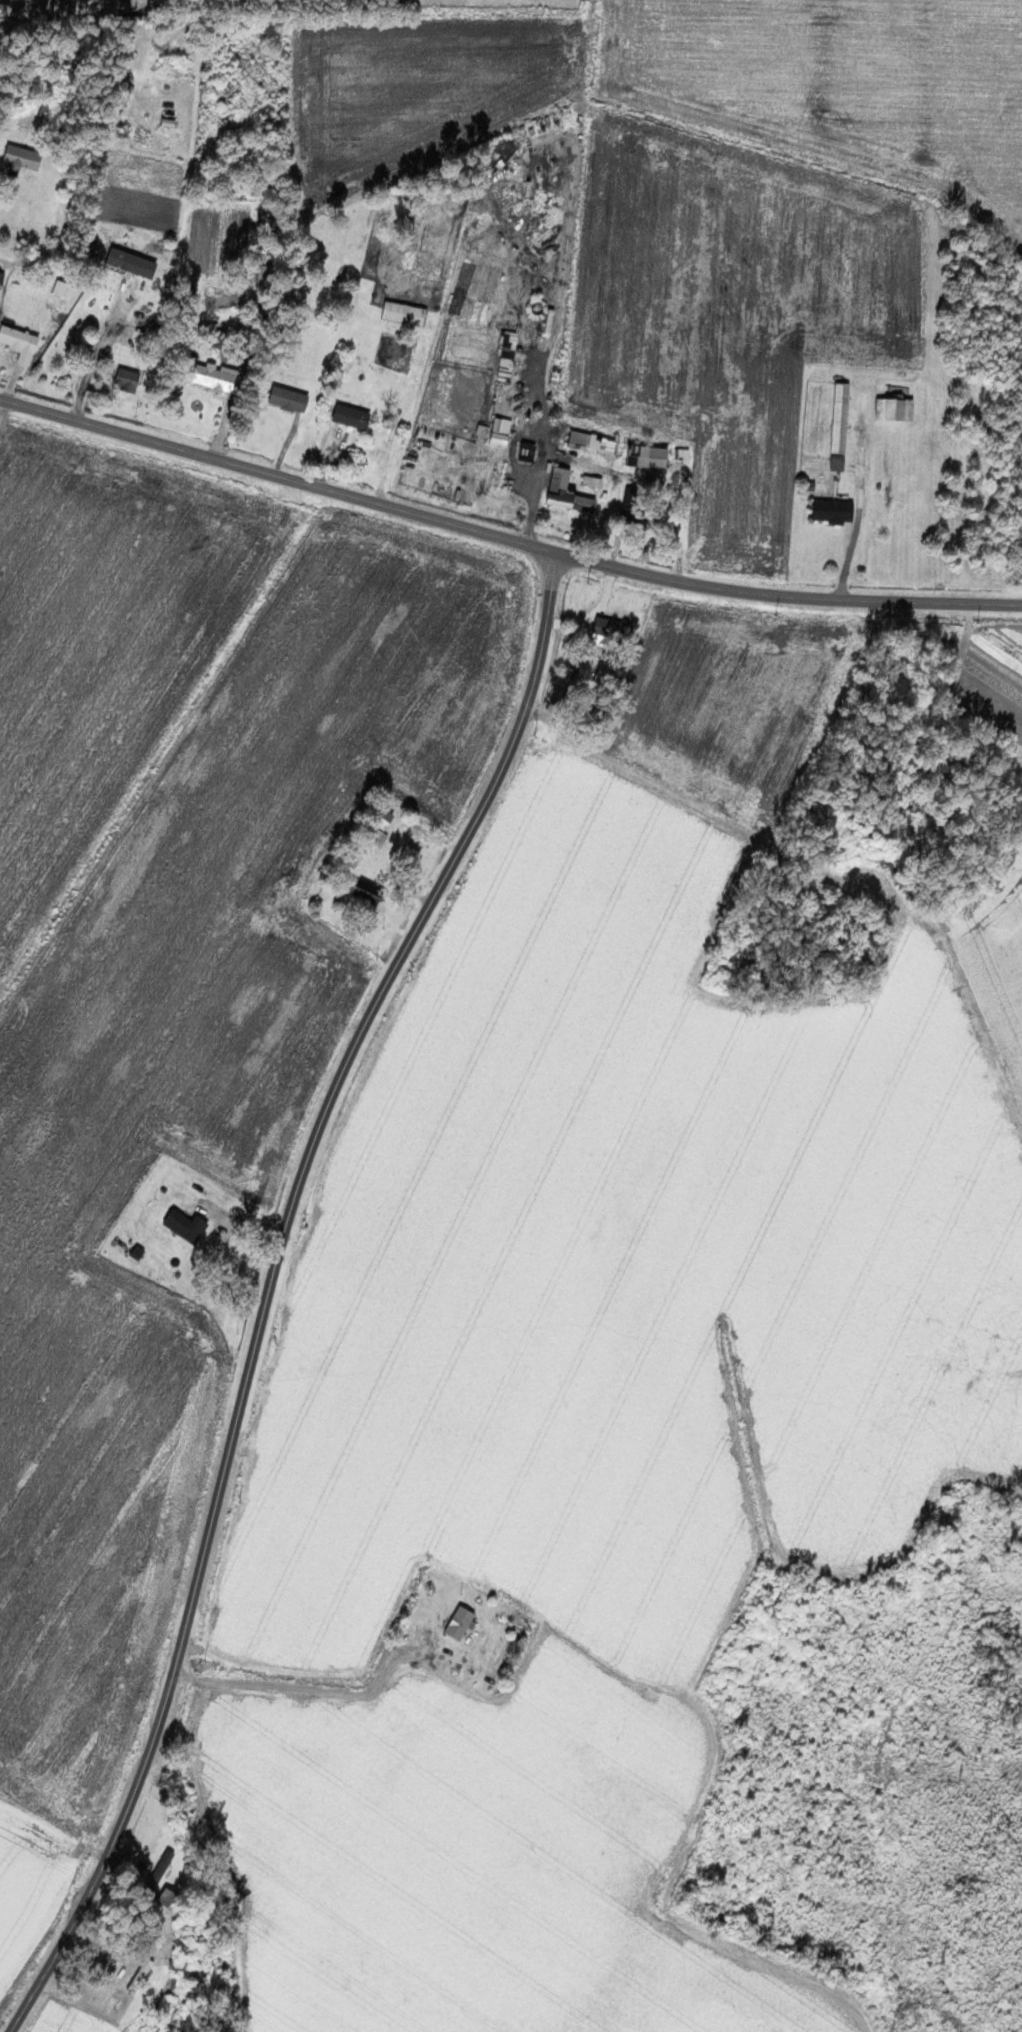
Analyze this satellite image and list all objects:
building: (23, 158)
building: (265, 275)
building: (60, 288)
building: (405, 313)
building: (20, 342)
building: (217, 377)
building: (127, 378)
building: (289, 398)
building: (527, 406)
building: (895, 408)
building: (352, 416)
building: (501, 426)
building: (840, 426)
building: (528, 451)
building: (649, 455)
building: (567, 493)
building: (630, 503)
building: (834, 511)
road: (505, 538)
building: (614, 629)
building: (377, 841)
building: (369, 893)
building: (186, 1225)
road: (260, 1277)
building: (460, 1623)
road: (243, 1890)

